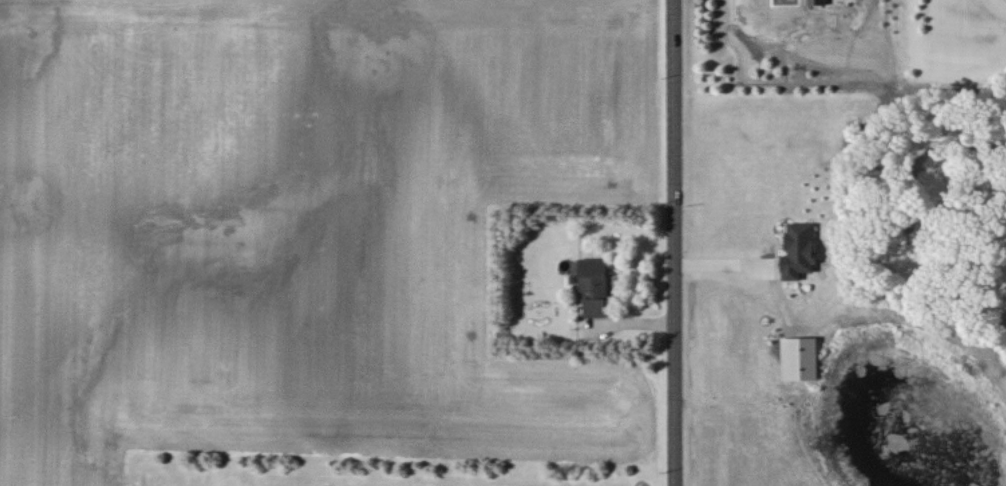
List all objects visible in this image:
building: (817, 2)
road: (670, 243)
building: (798, 250)
road: (725, 264)
building: (592, 284)
building: (798, 358)

